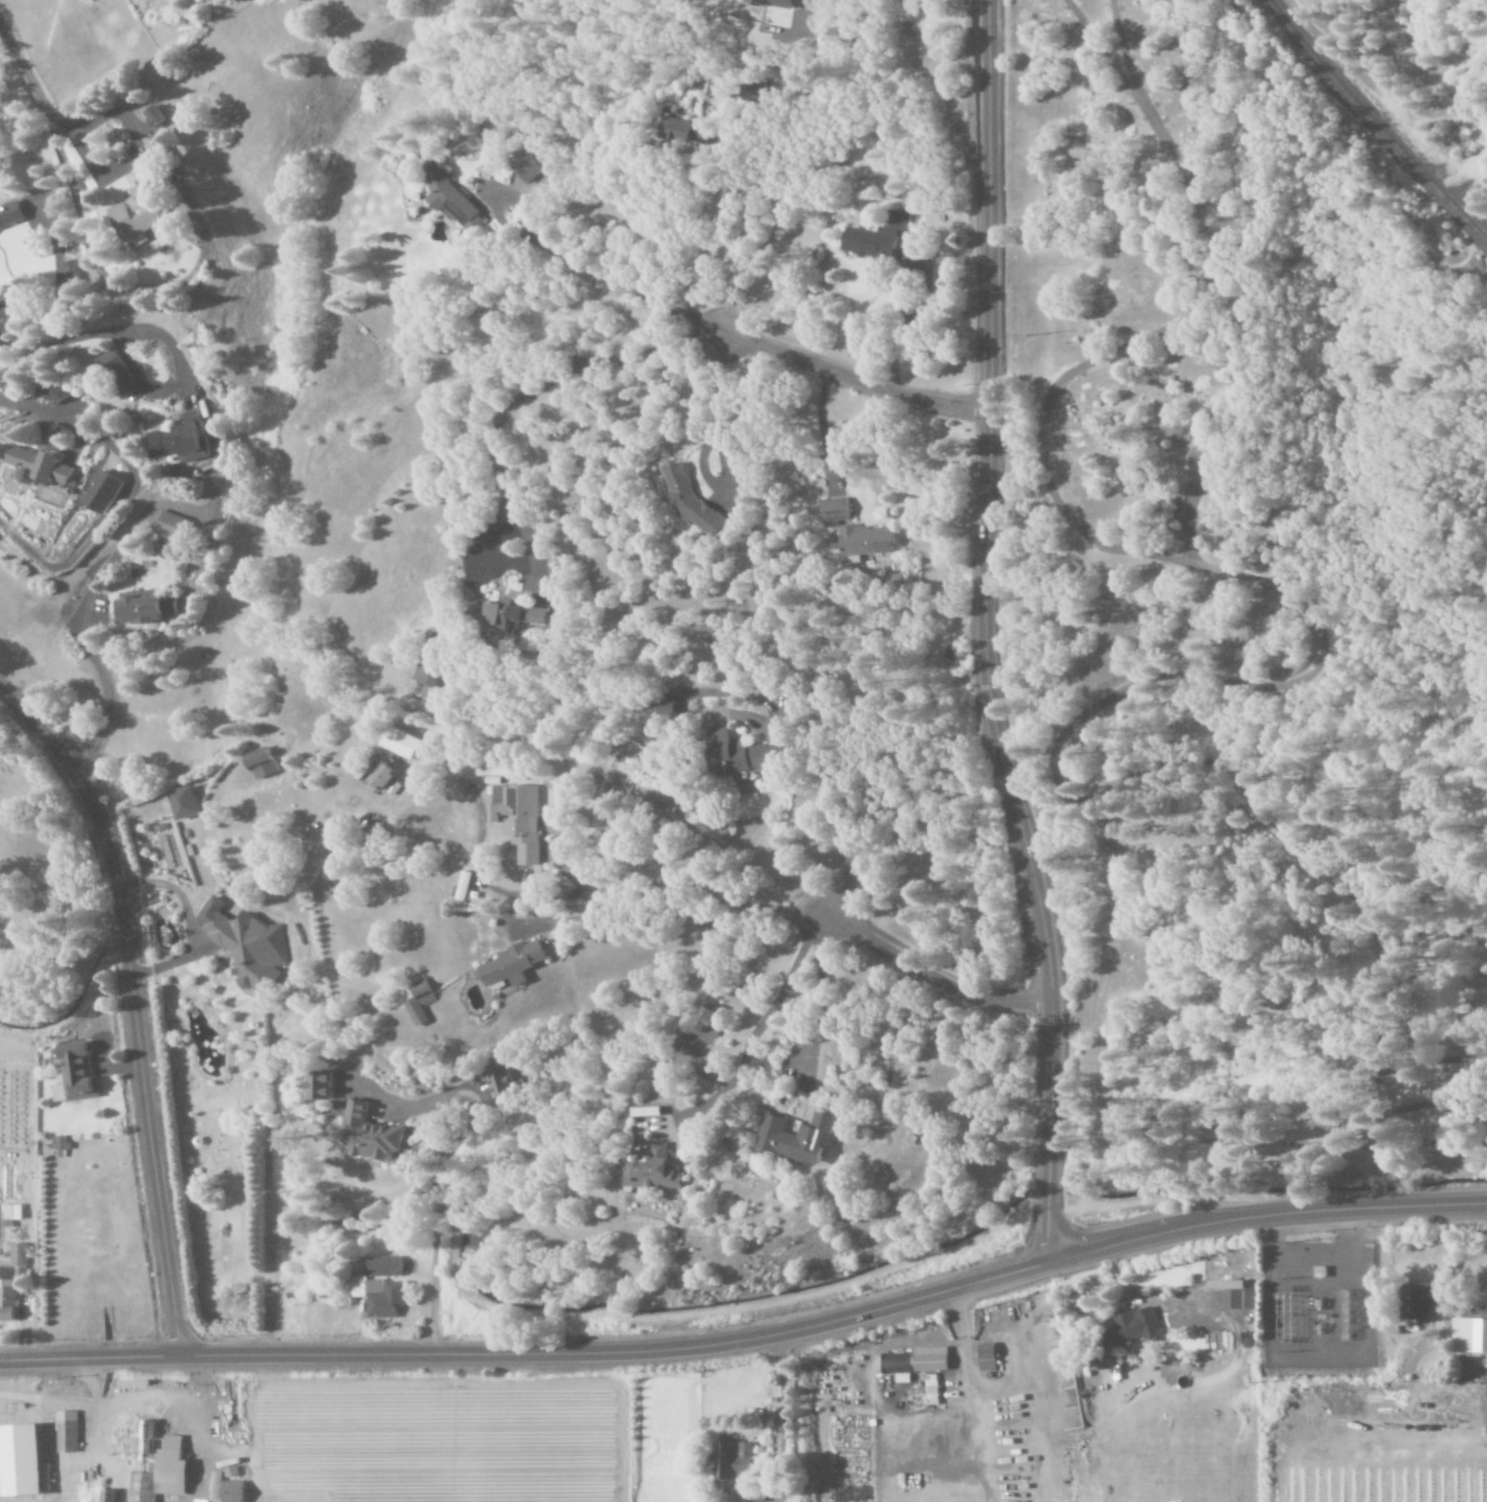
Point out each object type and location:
building: (85, 1)
building: (776, 3)
building: (157, 117)
railway: (1371, 124)
building: (690, 132)
road: (675, 148)
building: (529, 169)
building: (453, 197)
building: (12, 215)
building: (141, 215)
building: (877, 239)
road: (849, 368)
building: (59, 394)
building: (187, 441)
building: (44, 466)
building: (104, 492)
building: (694, 504)
building: (836, 512)
building: (170, 526)
building: (868, 541)
building: (145, 610)
road: (981, 634)
building: (433, 671)
building: (665, 709)
building: (405, 743)
building: (743, 754)
building: (263, 765)
building: (492, 770)
building: (387, 776)
building: (185, 803)
building: (522, 818)
building: (247, 944)
building: (514, 965)
road: (925, 976)
building: (422, 1005)
road: (129, 1010)
building: (711, 1021)
building: (76, 1075)
building: (500, 1082)
building: (324, 1085)
building: (651, 1112)
building: (372, 1134)
building: (801, 1138)
building: (61, 1144)
building: (651, 1172)
building: (13, 1214)
building: (20, 1260)
building: (386, 1266)
building: (379, 1295)
building: (1238, 1295)
building: (8, 1302)
building: (1411, 1303)
building: (1128, 1326)
building: (1468, 1336)
road: (750, 1337)
building: (1247, 1340)
building: (989, 1357)
building: (919, 1361)
road: (197, 1396)
crop: (714, 1427)
building: (68, 1432)
crop: (450, 1435)
crop: (1367, 1440)
building: (26, 1461)
building: (736, 1461)
building: (160, 1467)
building: (228, 1490)
building: (109, 1496)
building: (756, 1496)
building: (197, 1501)

